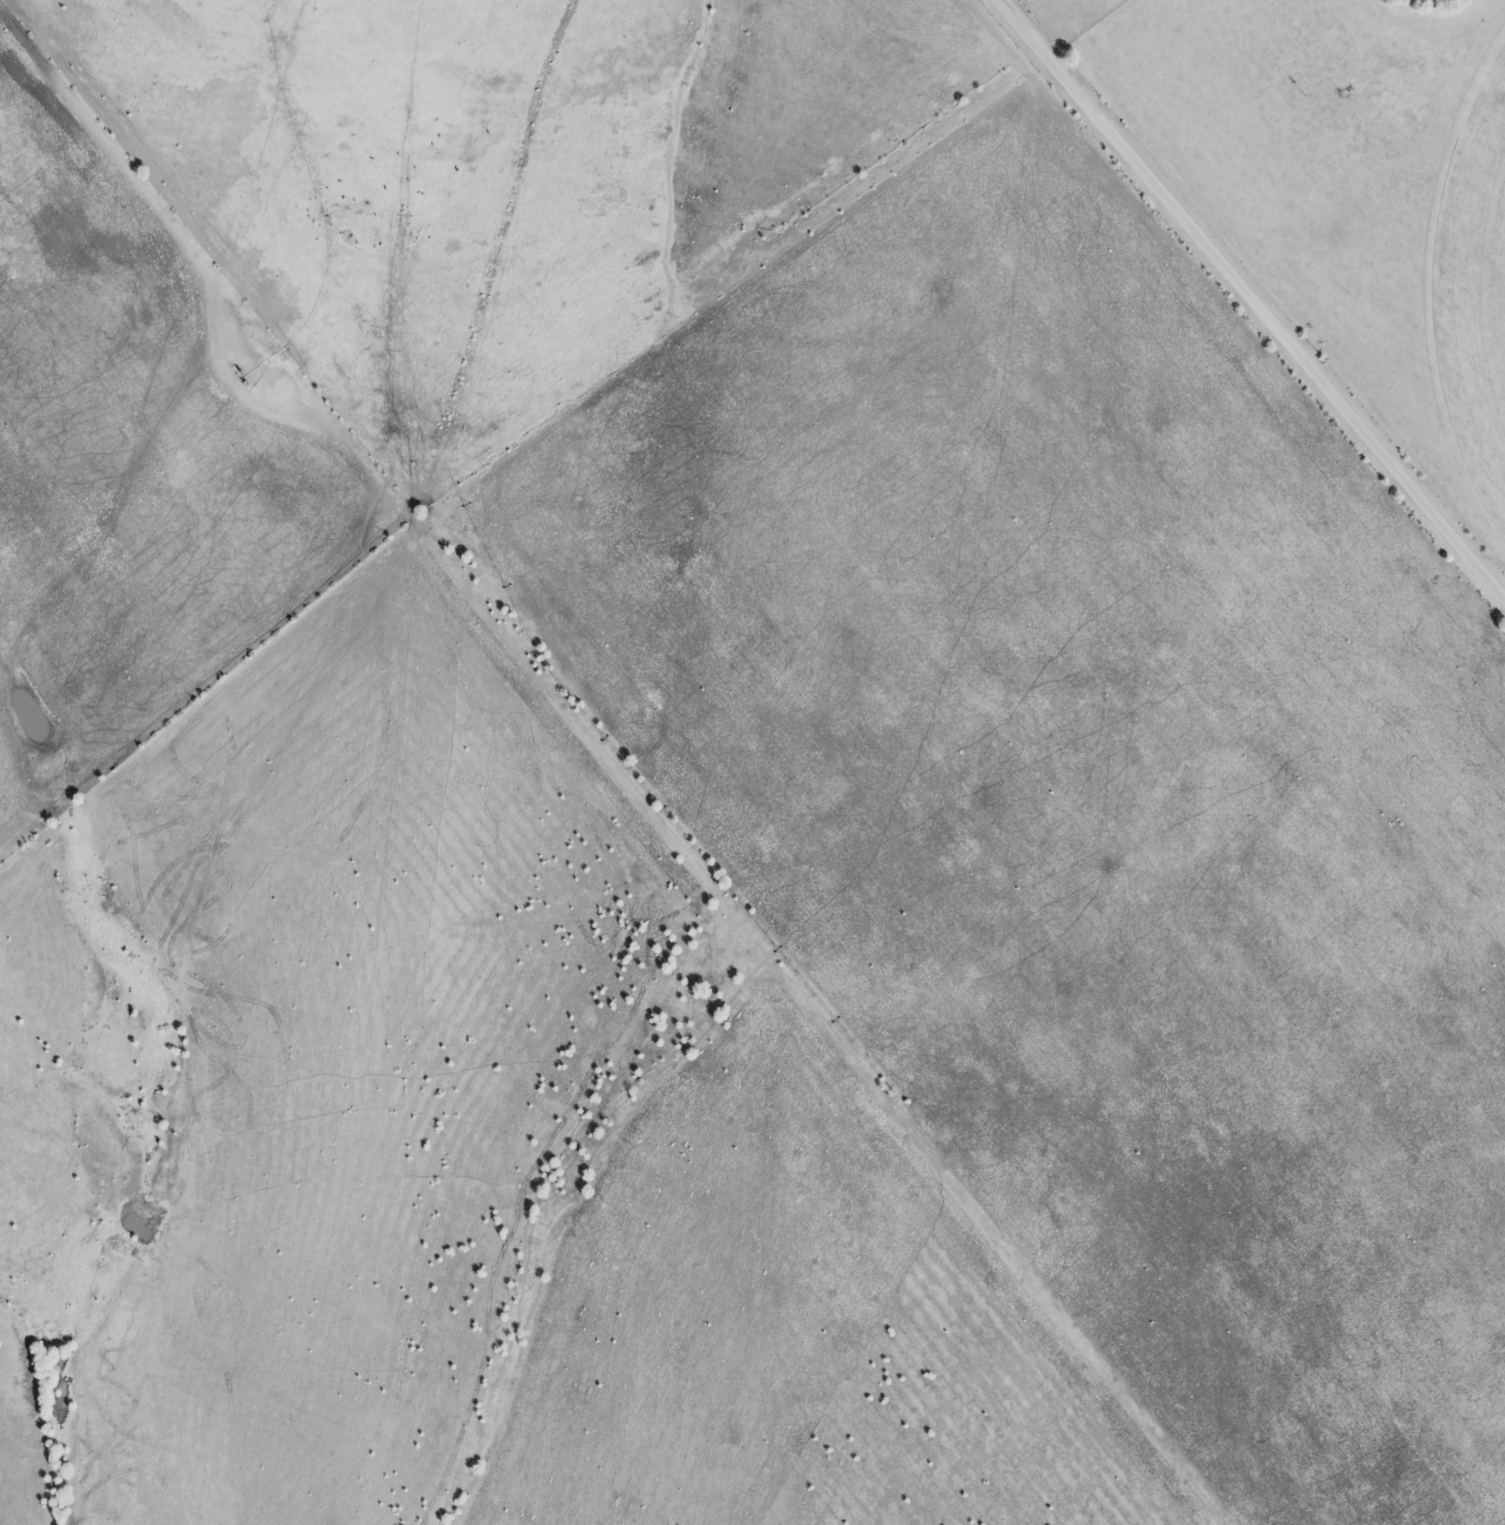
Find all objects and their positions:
road: (1254, 299)

